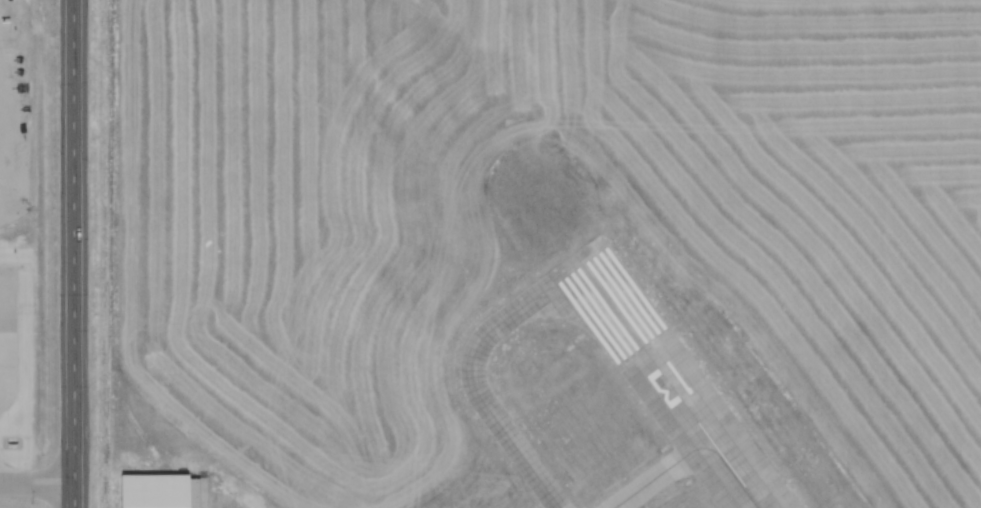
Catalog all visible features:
road: (76, 253)
airport: (546, 254)
airport runway: (664, 384)
airport taxiway: (479, 397)
road: (39, 473)
building: (132, 473)
airport apron: (648, 484)
airport taxiway: (648, 486)
road: (205, 492)

